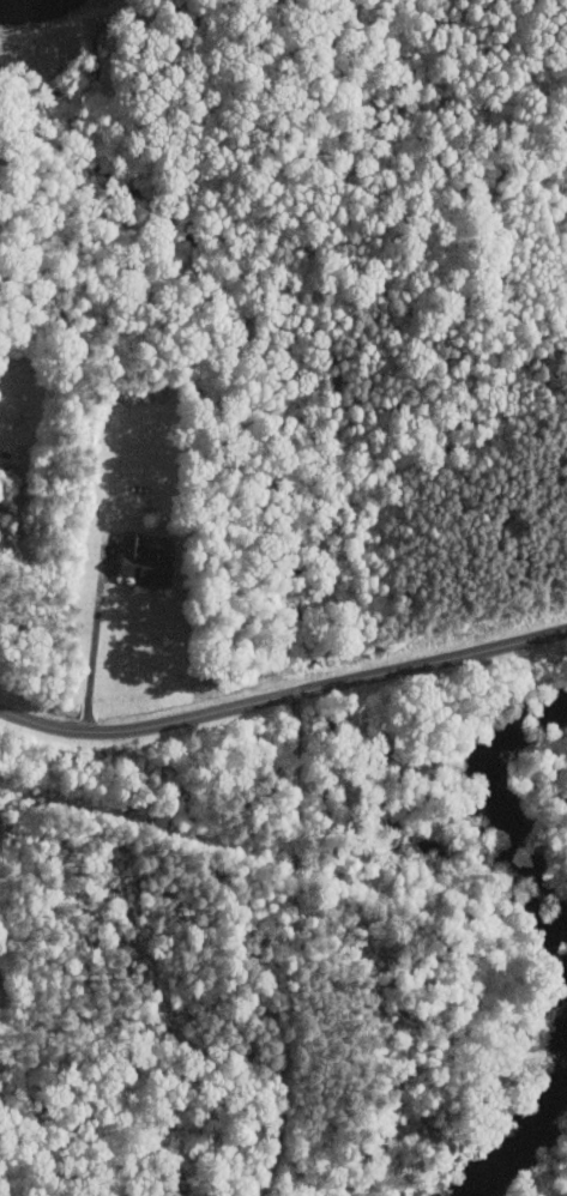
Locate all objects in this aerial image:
building: (146, 561)
road: (95, 641)
road: (283, 696)

